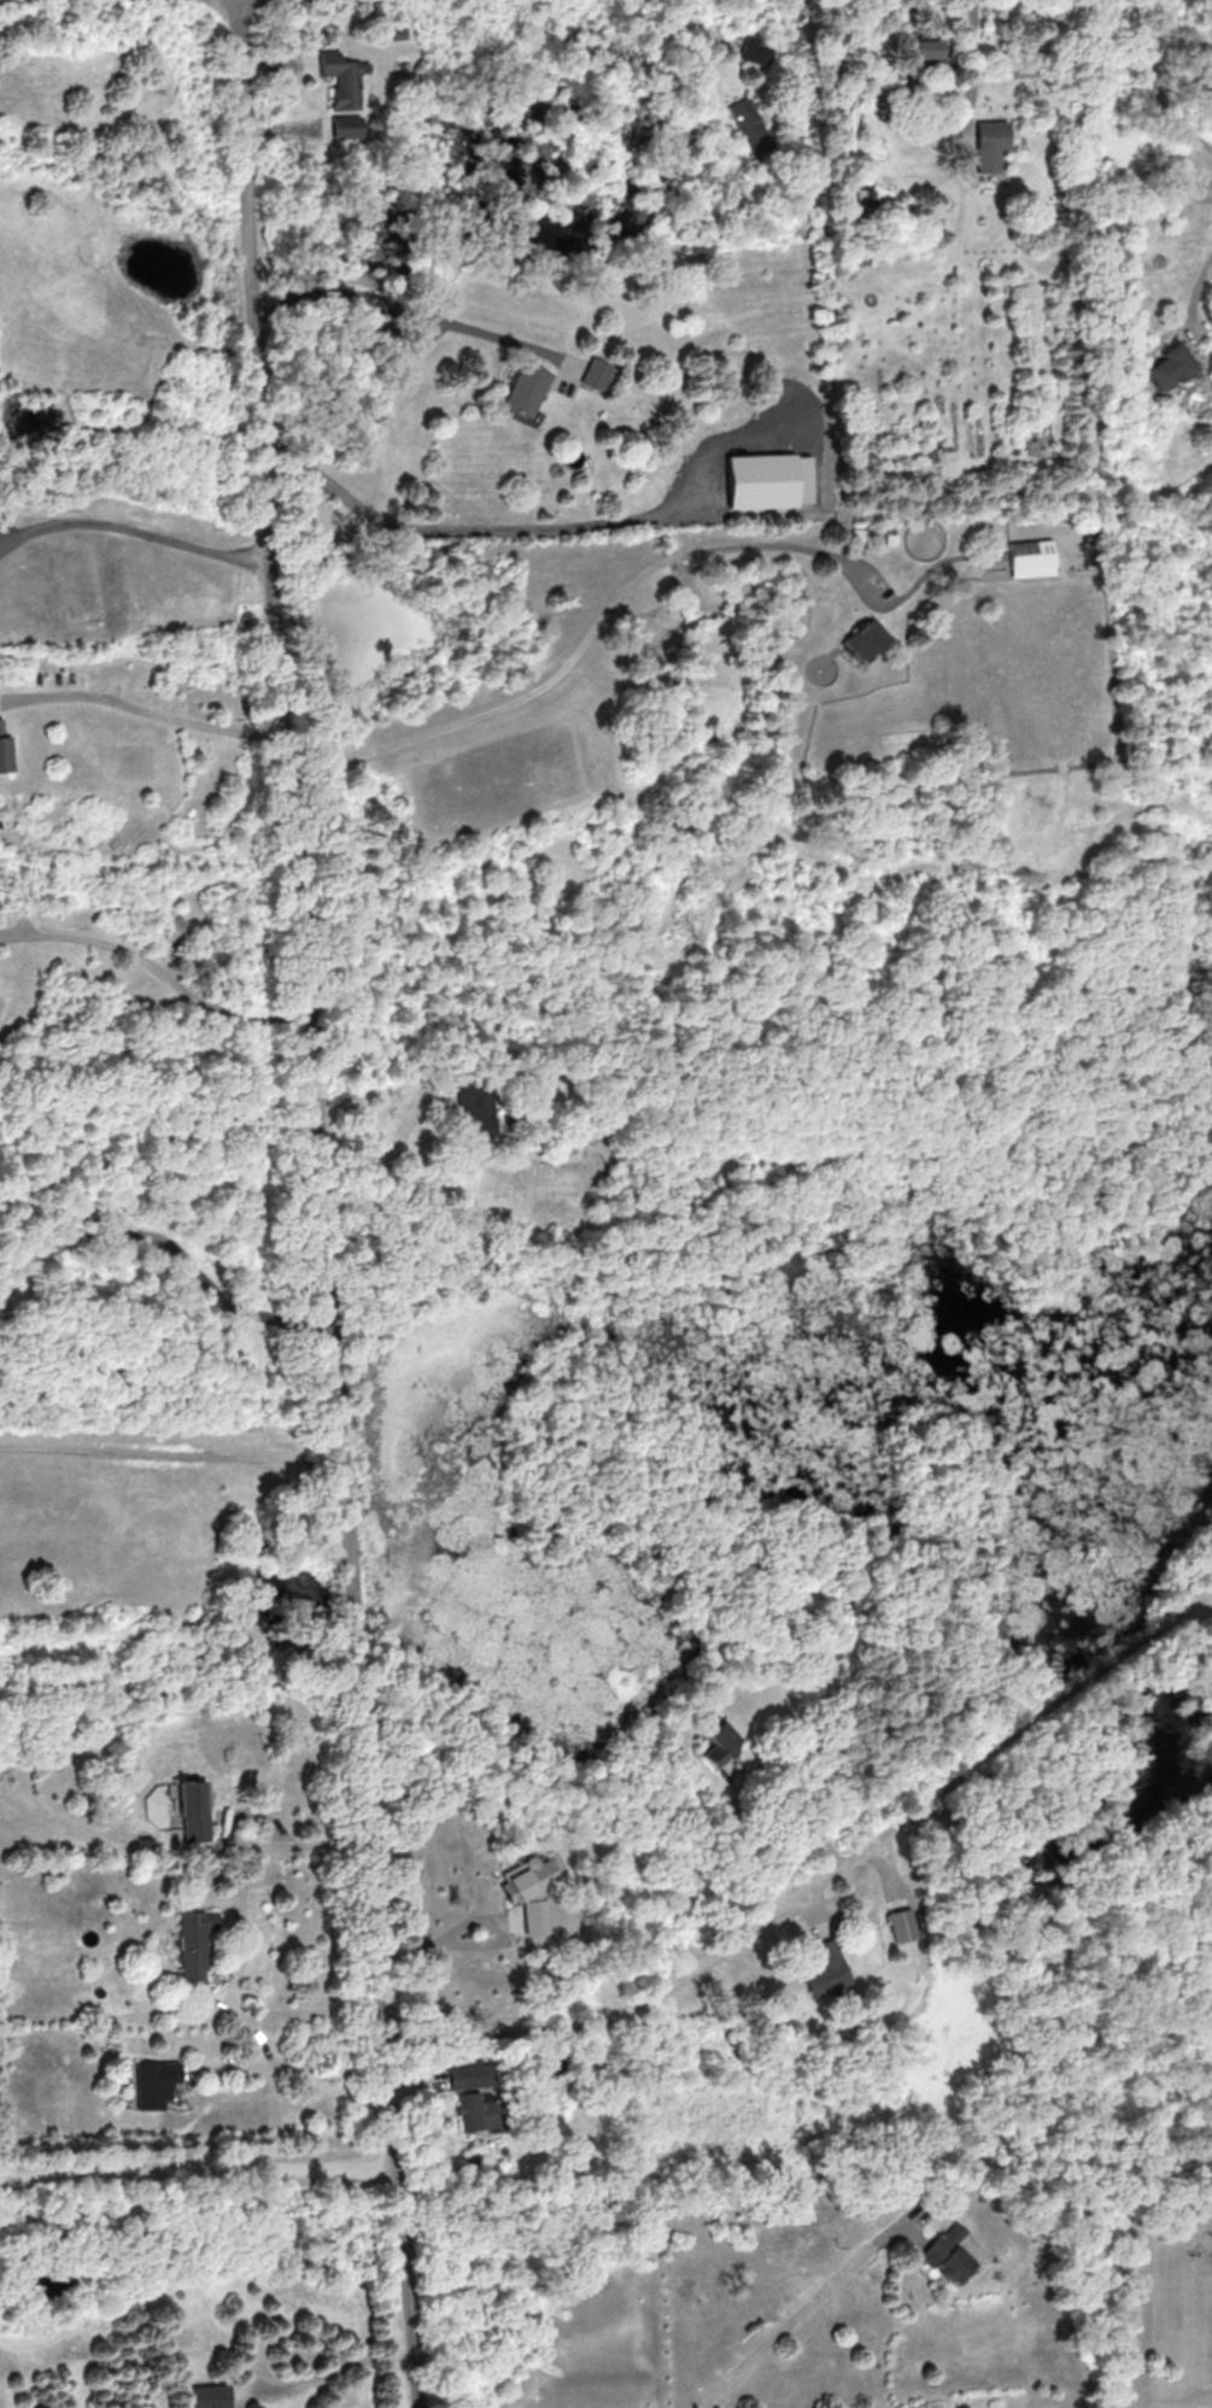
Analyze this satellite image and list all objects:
building: (754, 51)
building: (926, 52)
road: (974, 74)
building: (345, 78)
road: (1158, 81)
building: (749, 125)
building: (349, 127)
building: (990, 143)
road: (1196, 300)
road: (402, 309)
building: (1167, 365)
building: (593, 373)
building: (525, 388)
building: (574, 457)
building: (769, 480)
road: (474, 525)
road: (134, 527)
building: (1031, 557)
road: (593, 633)
building: (865, 637)
road: (146, 709)
building: (5, 751)
road: (159, 971)
building: (475, 1112)
road: (391, 1155)
road: (327, 1203)
road: (171, 1455)
building: (721, 1742)
road: (750, 1776)
building: (194, 1811)
road: (300, 1844)
road: (821, 1880)
building: (529, 1891)
building: (903, 1924)
road: (457, 1928)
building: (193, 1941)
building: (826, 1970)
road: (267, 2011)
road: (265, 2039)
road: (295, 2067)
building: (469, 2074)
building: (154, 2082)
building: (474, 2111)
road: (198, 2178)
building: (947, 2254)
road: (797, 2308)
road: (330, 2374)
building: (206, 2396)

